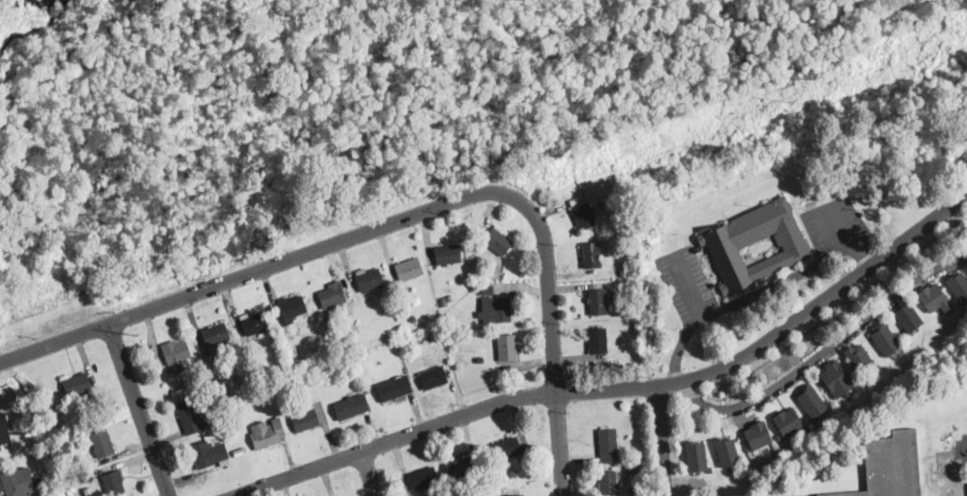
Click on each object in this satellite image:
power tower: (793, 104)
building: (580, 198)
building: (623, 212)
building: (612, 215)
building: (585, 216)
power tower: (466, 219)
building: (621, 221)
road: (840, 227)
building: (499, 241)
building: (727, 247)
building: (448, 254)
building: (592, 255)
building: (472, 259)
road: (258, 269)
building: (409, 269)
building: (371, 280)
building: (959, 286)
road: (689, 288)
building: (488, 289)
road: (758, 294)
building: (333, 296)
building: (932, 296)
building: (444, 302)
building: (597, 302)
building: (289, 309)
building: (496, 309)
building: (909, 316)
building: (414, 318)
building: (331, 319)
road: (824, 320)
building: (255, 326)
building: (640, 328)
building: (216, 334)
power tower: (137, 336)
building: (436, 336)
building: (428, 339)
building: (886, 339)
building: (599, 341)
road: (553, 342)
building: (507, 347)
road: (824, 352)
building: (177, 355)
building: (859, 358)
building: (480, 359)
building: (191, 363)
building: (878, 368)
building: (199, 374)
building: (242, 377)
building: (435, 377)
building: (837, 378)
building: (77, 383)
building: (395, 388)
road: (624, 388)
building: (848, 394)
building: (215, 395)
building: (812, 400)
building: (74, 404)
building: (352, 406)
road: (141, 410)
building: (193, 416)
building: (808, 418)
building: (306, 419)
building: (787, 421)
building: (4, 430)
building: (268, 433)
building: (758, 434)
building: (779, 437)
road: (663, 440)
building: (103, 443)
building: (70, 445)
building: (609, 445)
building: (508, 448)
building: (748, 448)
building: (240, 451)
building: (727, 451)
building: (210, 454)
building: (697, 456)
building: (945, 463)
building: (891, 466)
building: (461, 468)
building: (631, 469)
building: (232, 470)
road: (370, 473)
building: (514, 474)
building: (425, 477)
building: (86, 478)
building: (18, 482)
building: (114, 484)
building: (610, 484)
building: (517, 495)

